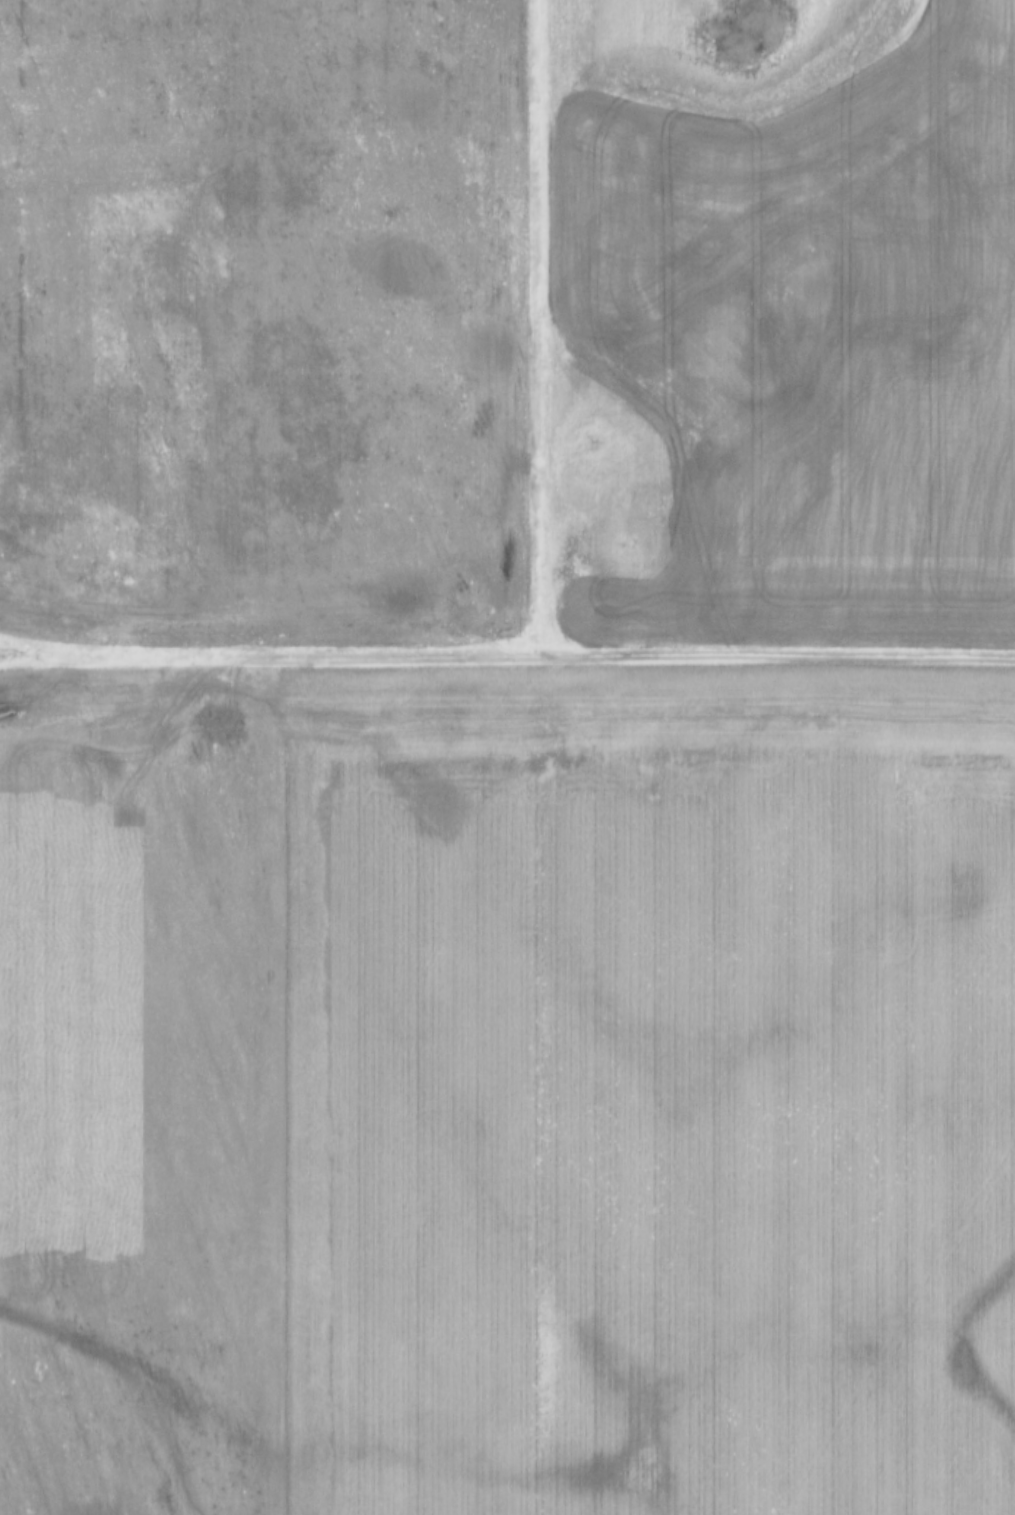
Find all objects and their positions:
road: (538, 553)

